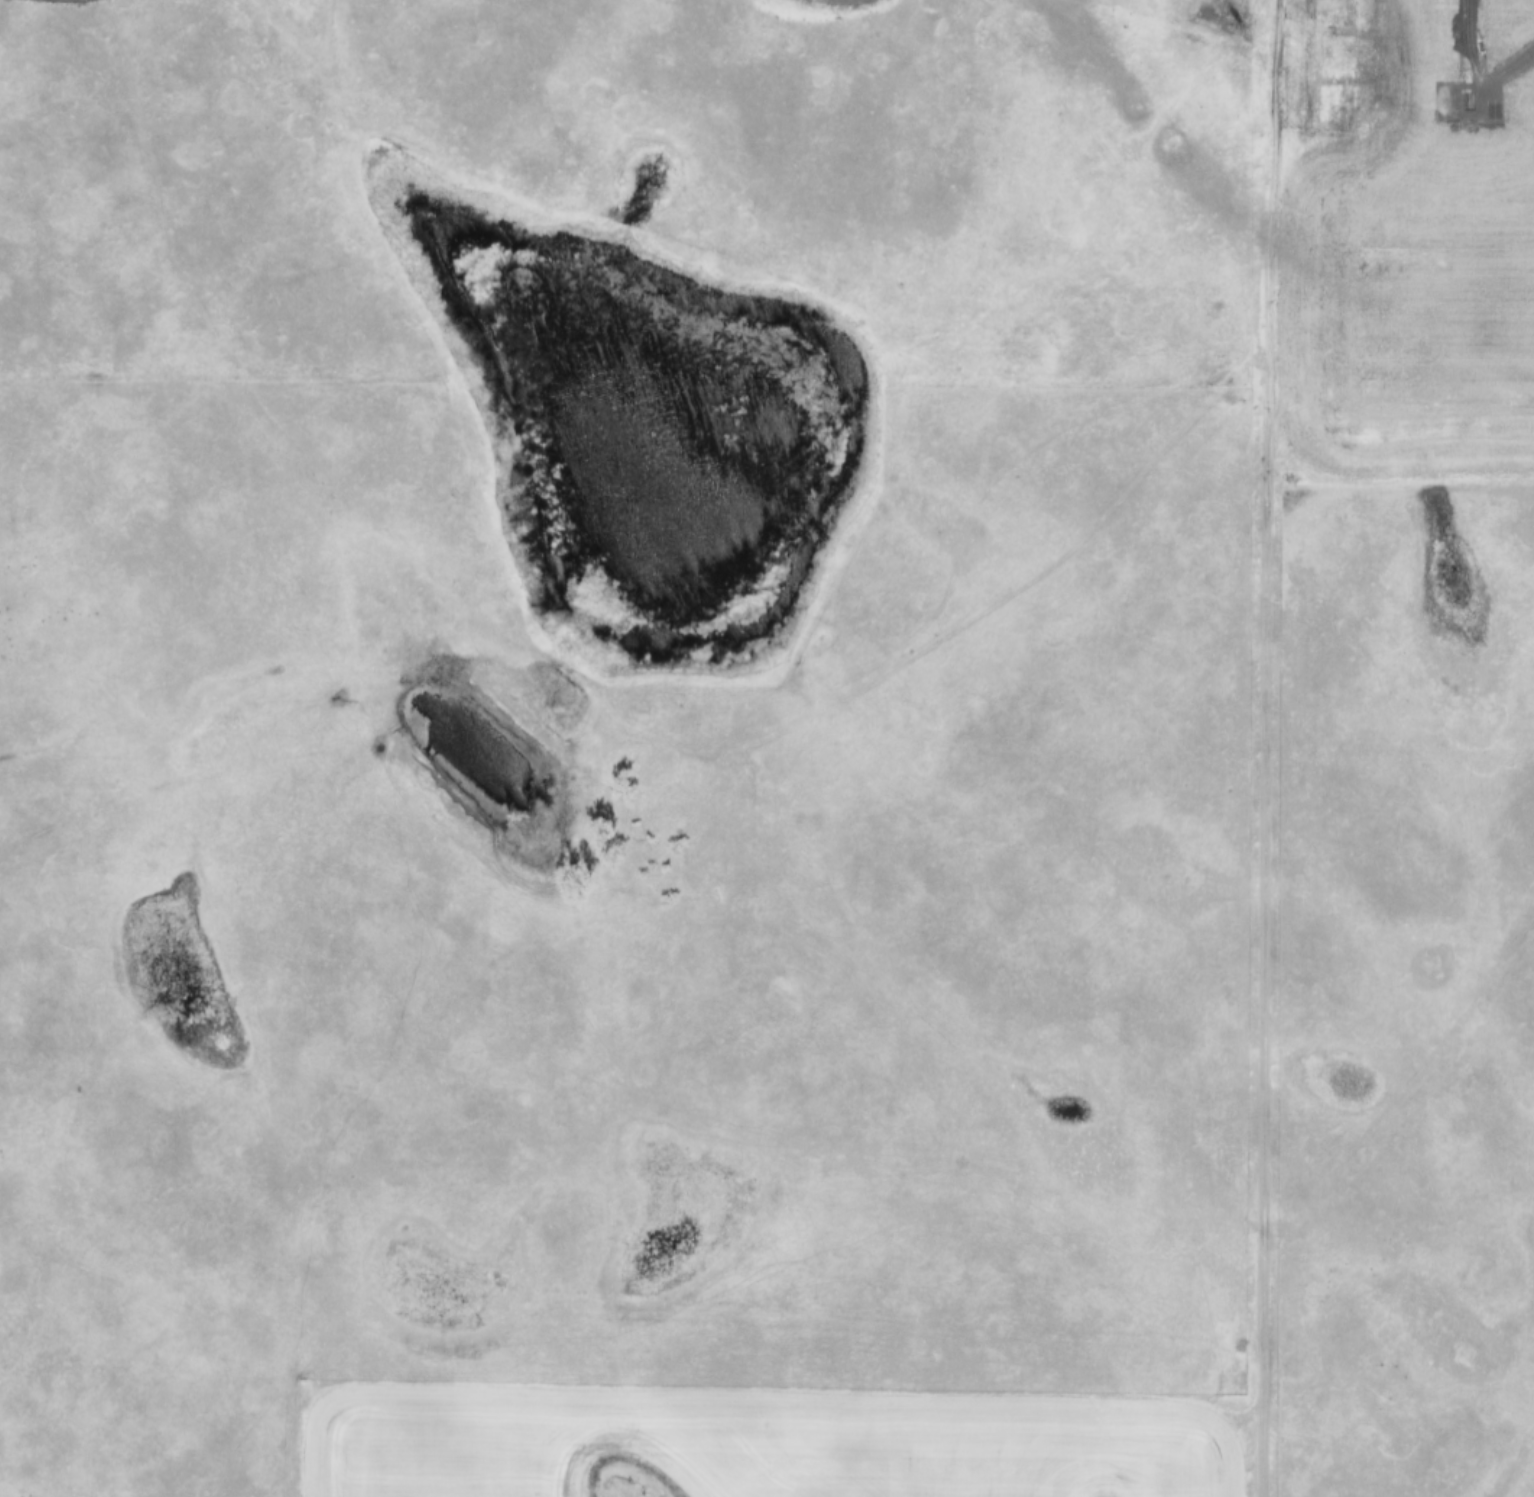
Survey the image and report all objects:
road: (1266, 748)

